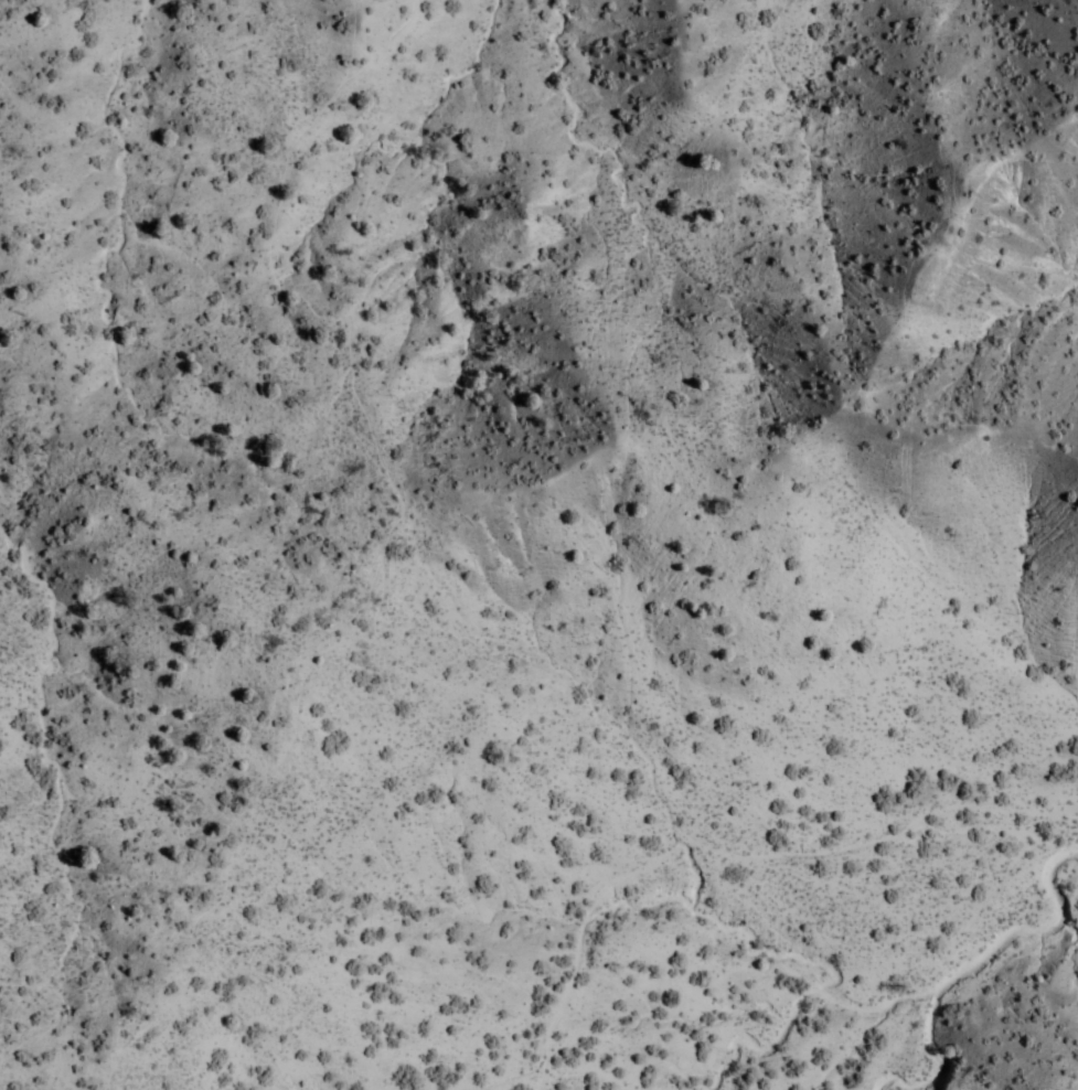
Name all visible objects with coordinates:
road: (730, 849)

